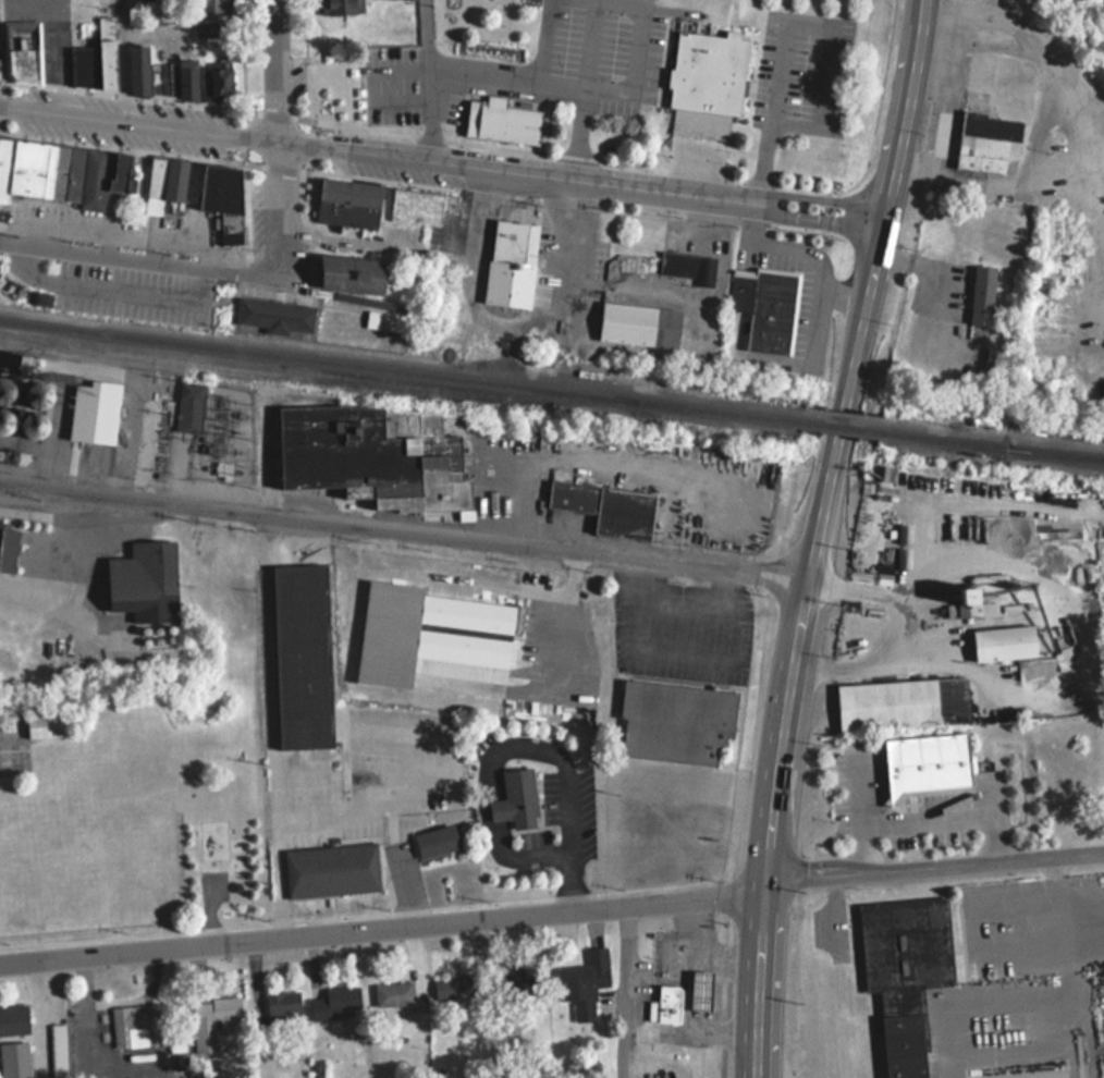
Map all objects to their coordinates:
building: (213, 7)
building: (341, 7)
road: (792, 21)
park: (494, 26)
road: (426, 34)
road: (547, 41)
road: (590, 45)
parking lot: (624, 49)
road: (60, 56)
building: (97, 59)
road: (122, 60)
road: (635, 62)
building: (22, 63)
road: (274, 70)
road: (464, 73)
building: (160, 75)
building: (221, 82)
road: (400, 83)
building: (723, 84)
parking lot: (417, 88)
building: (501, 119)
road: (578, 133)
building: (986, 142)
road: (1097, 143)
road: (441, 159)
building: (53, 169)
building: (121, 171)
building: (164, 182)
building: (222, 186)
road: (280, 204)
building: (363, 205)
building: (431, 209)
road: (884, 209)
road: (142, 261)
building: (512, 262)
building: (688, 267)
building: (353, 272)
road: (942, 279)
building: (983, 293)
building: (765, 307)
building: (274, 315)
building: (383, 320)
building: (640, 324)
road: (499, 330)
railway: (250, 364)
railway: (401, 369)
railway: (321, 383)
building: (189, 406)
building: (95, 412)
railway: (841, 426)
power substation: (212, 436)
railway: (991, 445)
railway: (1056, 453)
building: (376, 454)
building: (608, 506)
road: (405, 525)
building: (8, 548)
building: (144, 580)
road: (883, 593)
building: (969, 602)
building: (431, 636)
building: (1004, 641)
building: (303, 654)
road: (871, 664)
building: (901, 702)
building: (684, 722)
building: (45, 725)
road: (786, 746)
building: (939, 764)
building: (527, 800)
road: (864, 808)
road: (956, 818)
park: (226, 822)
building: (436, 841)
building: (330, 869)
road: (552, 907)
building: (593, 970)
building: (906, 972)
building: (528, 980)
building: (452, 989)
road: (624, 989)
building: (702, 990)
building: (393, 994)
building: (334, 1002)
building: (666, 1004)
building: (283, 1006)
building: (216, 1008)
road: (32, 1017)
building: (13, 1019)
building: (136, 1026)
building: (15, 1059)

